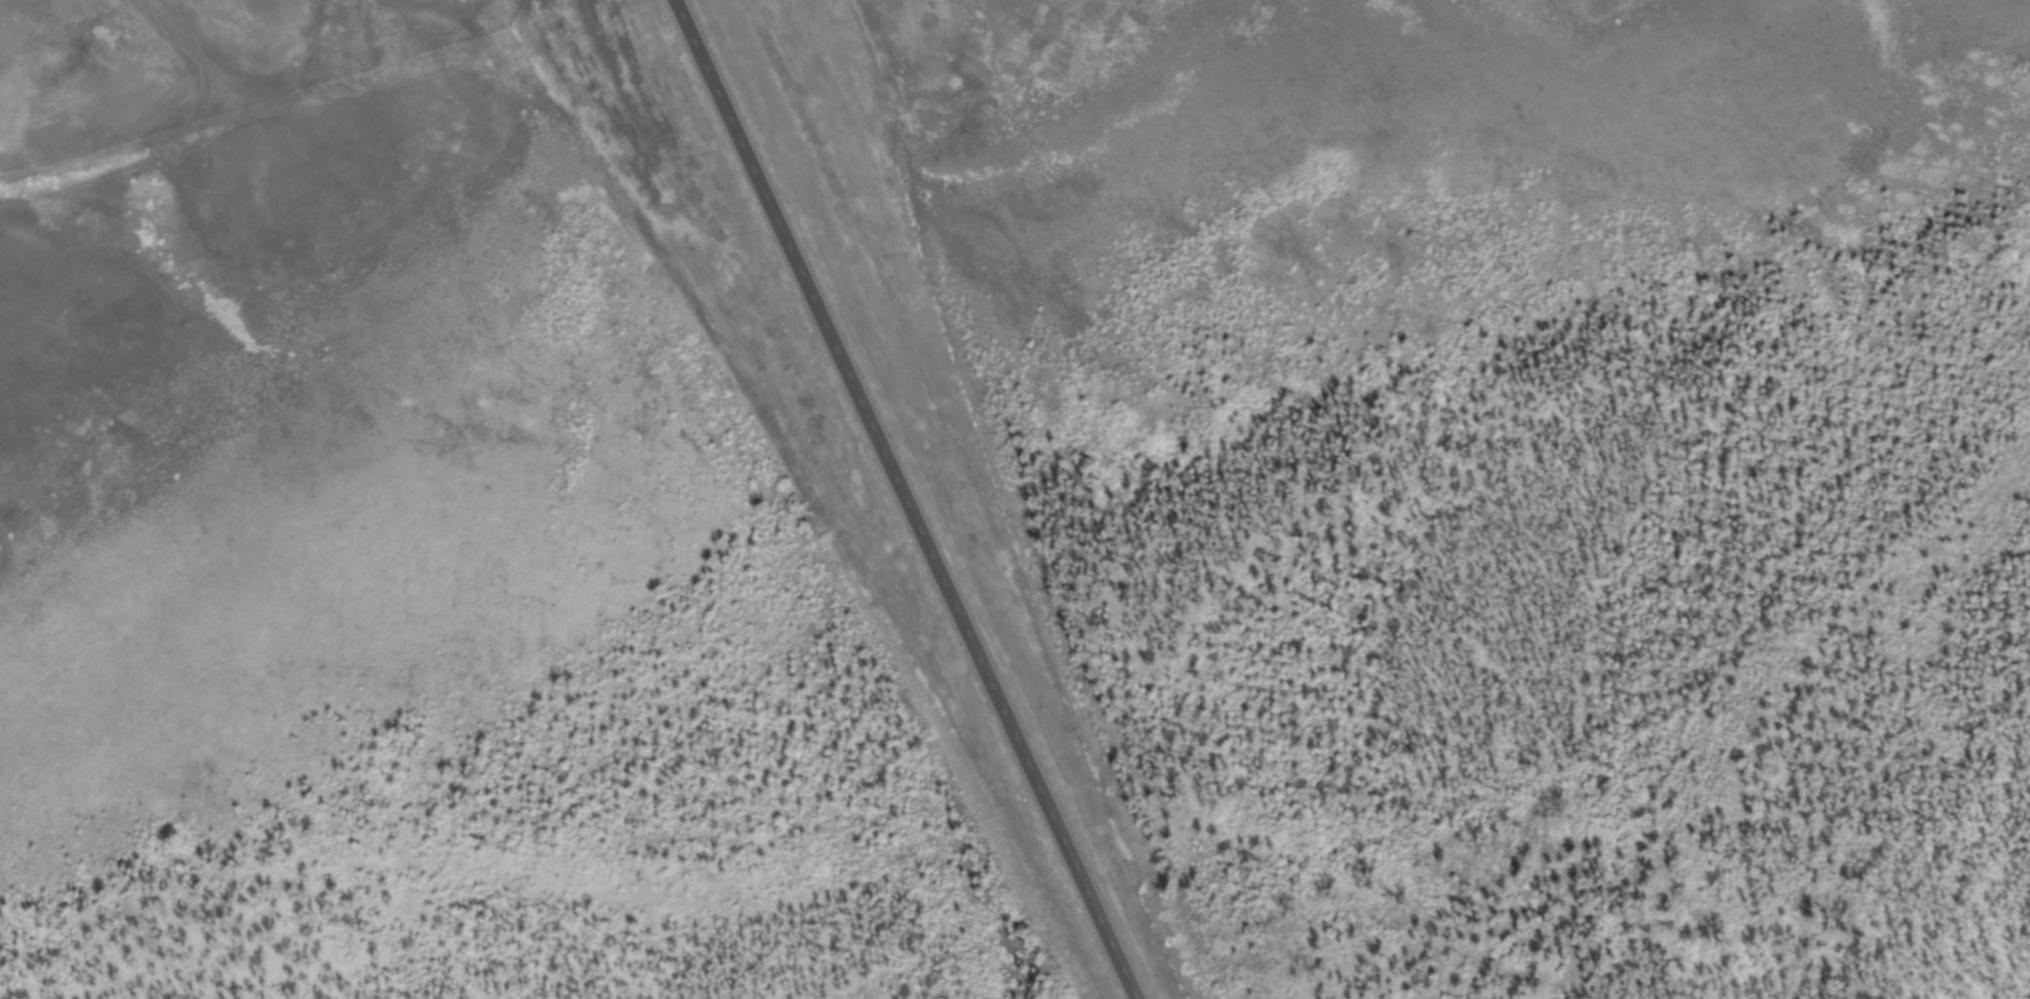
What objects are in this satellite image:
road: (907, 499)

